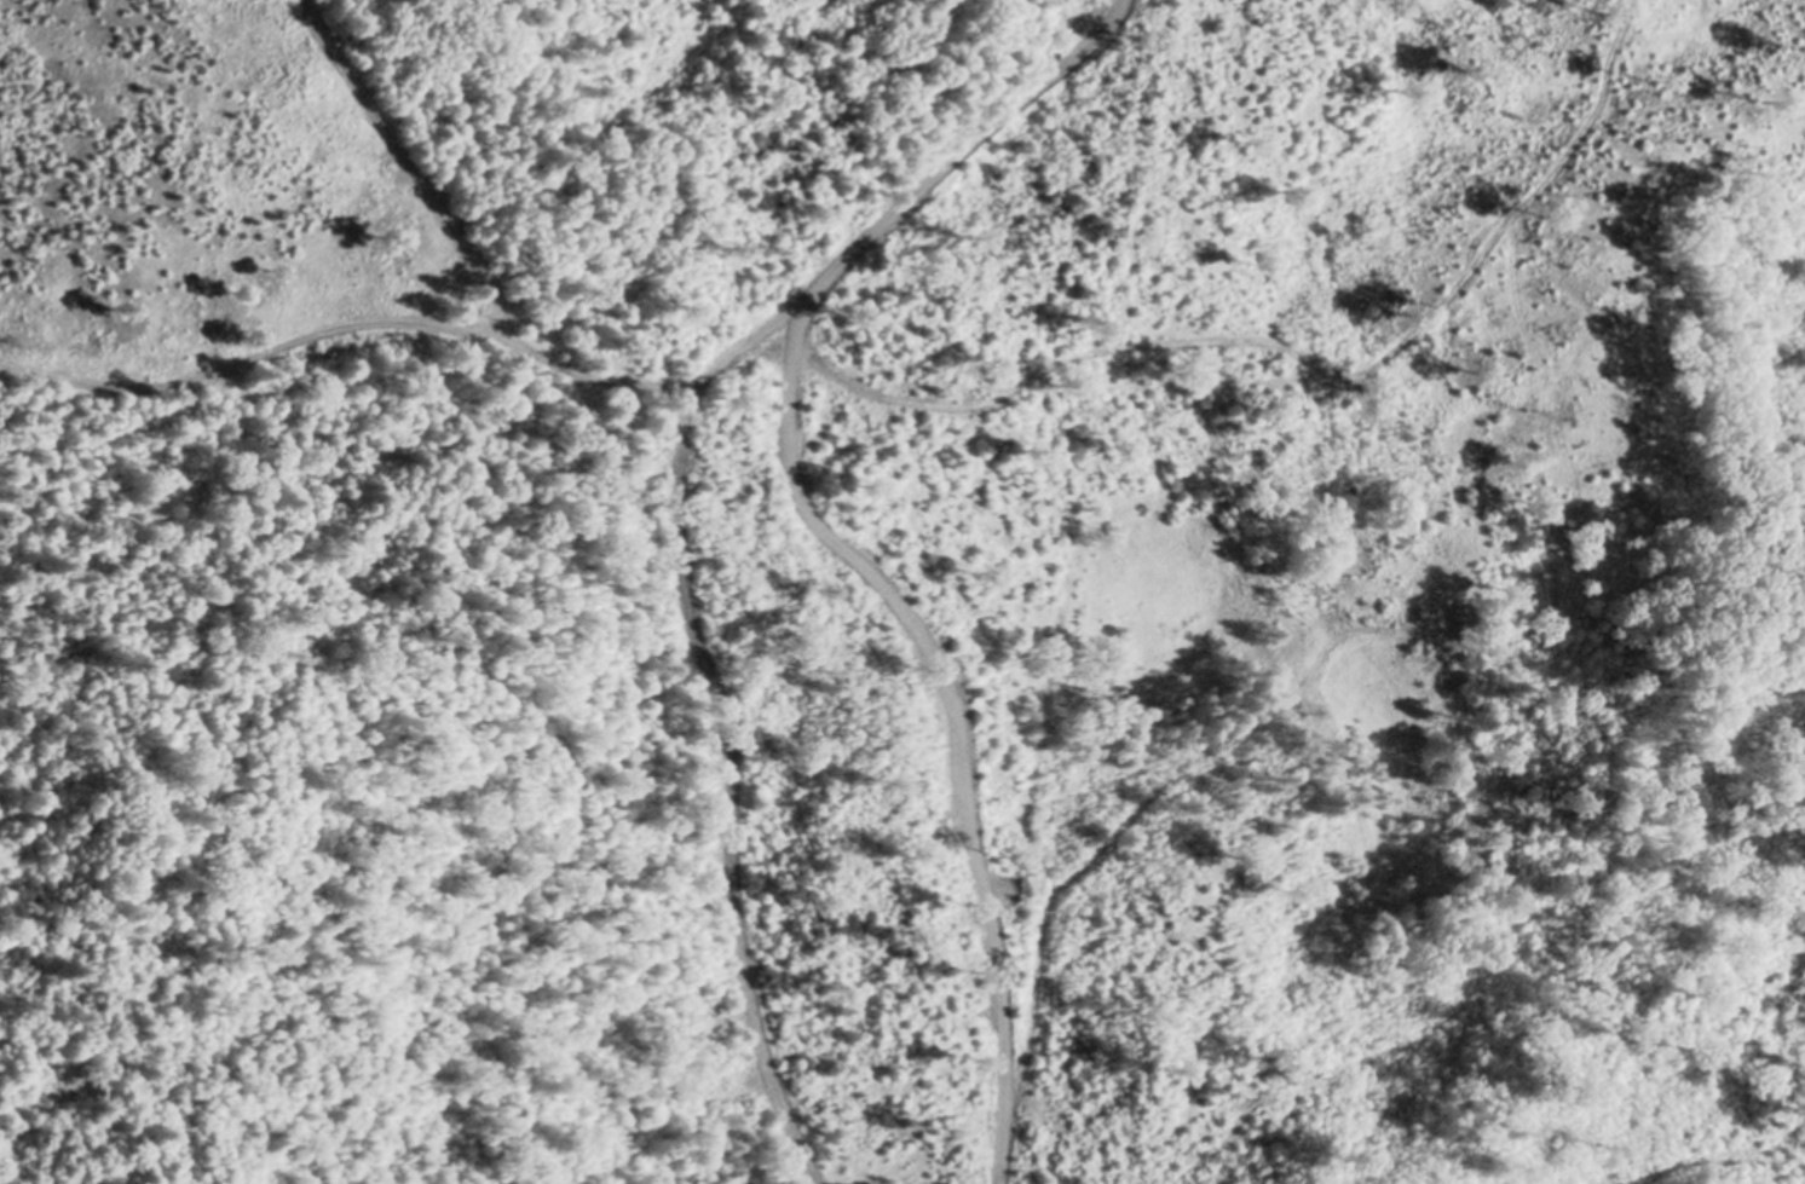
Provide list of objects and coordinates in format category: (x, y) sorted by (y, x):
road: (410, 174)
road: (344, 327)
road: (1115, 346)
road: (679, 506)
road: (1084, 851)

